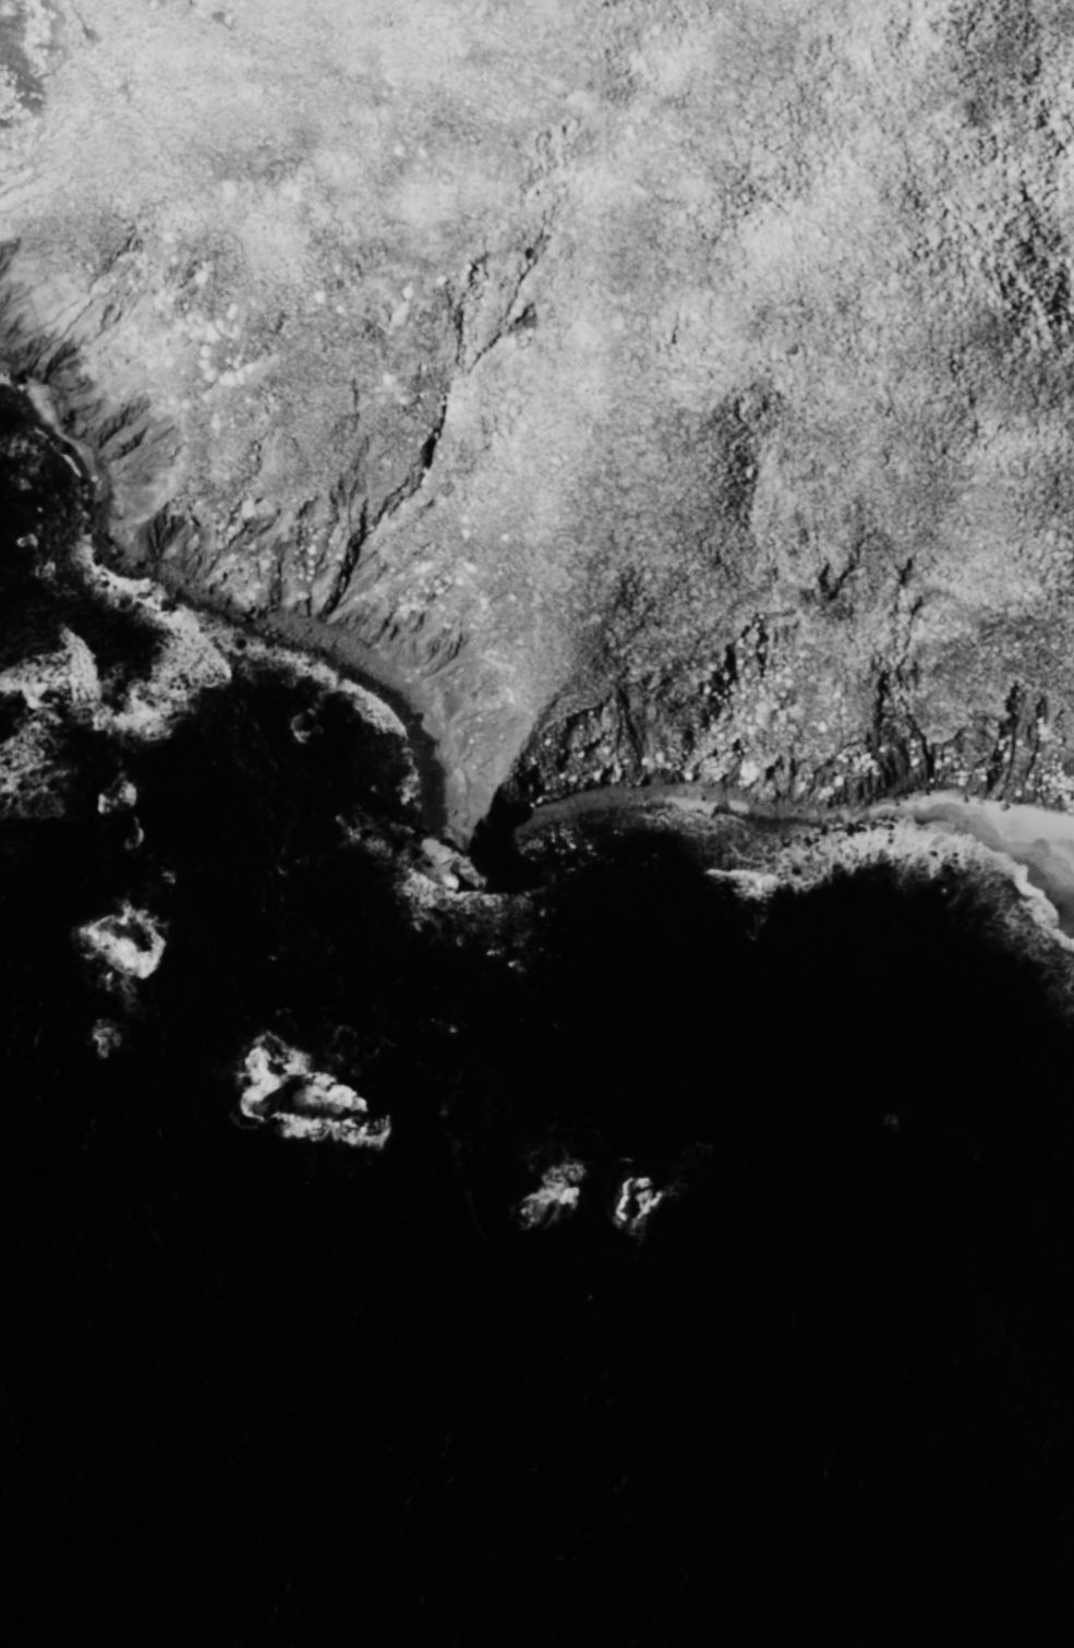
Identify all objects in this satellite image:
park: (50, 31)

